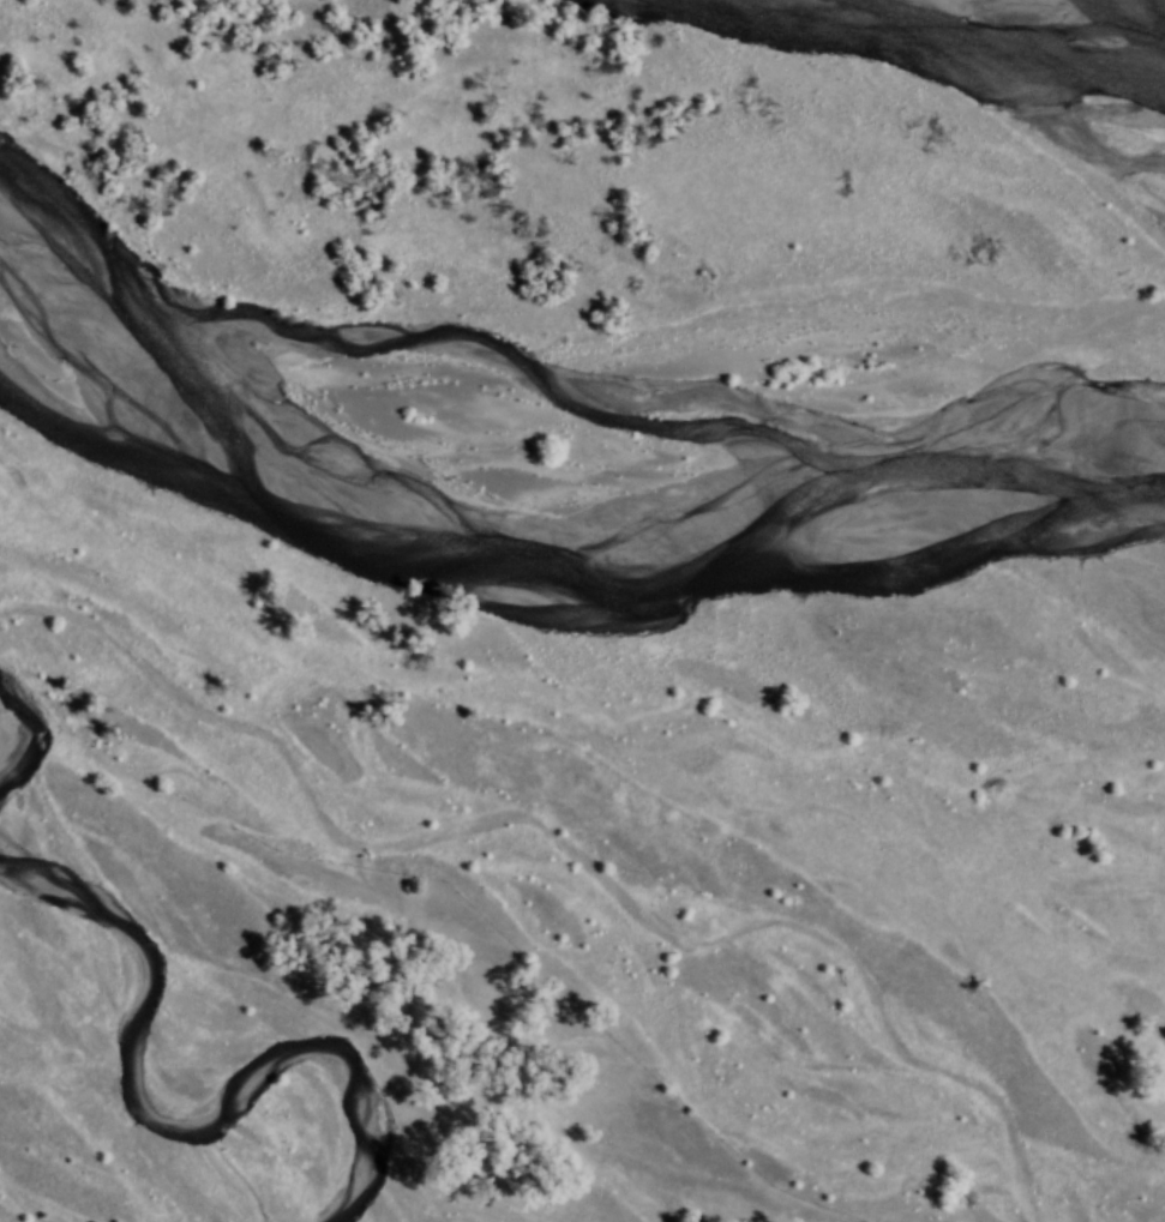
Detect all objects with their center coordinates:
river: (539, 553)

